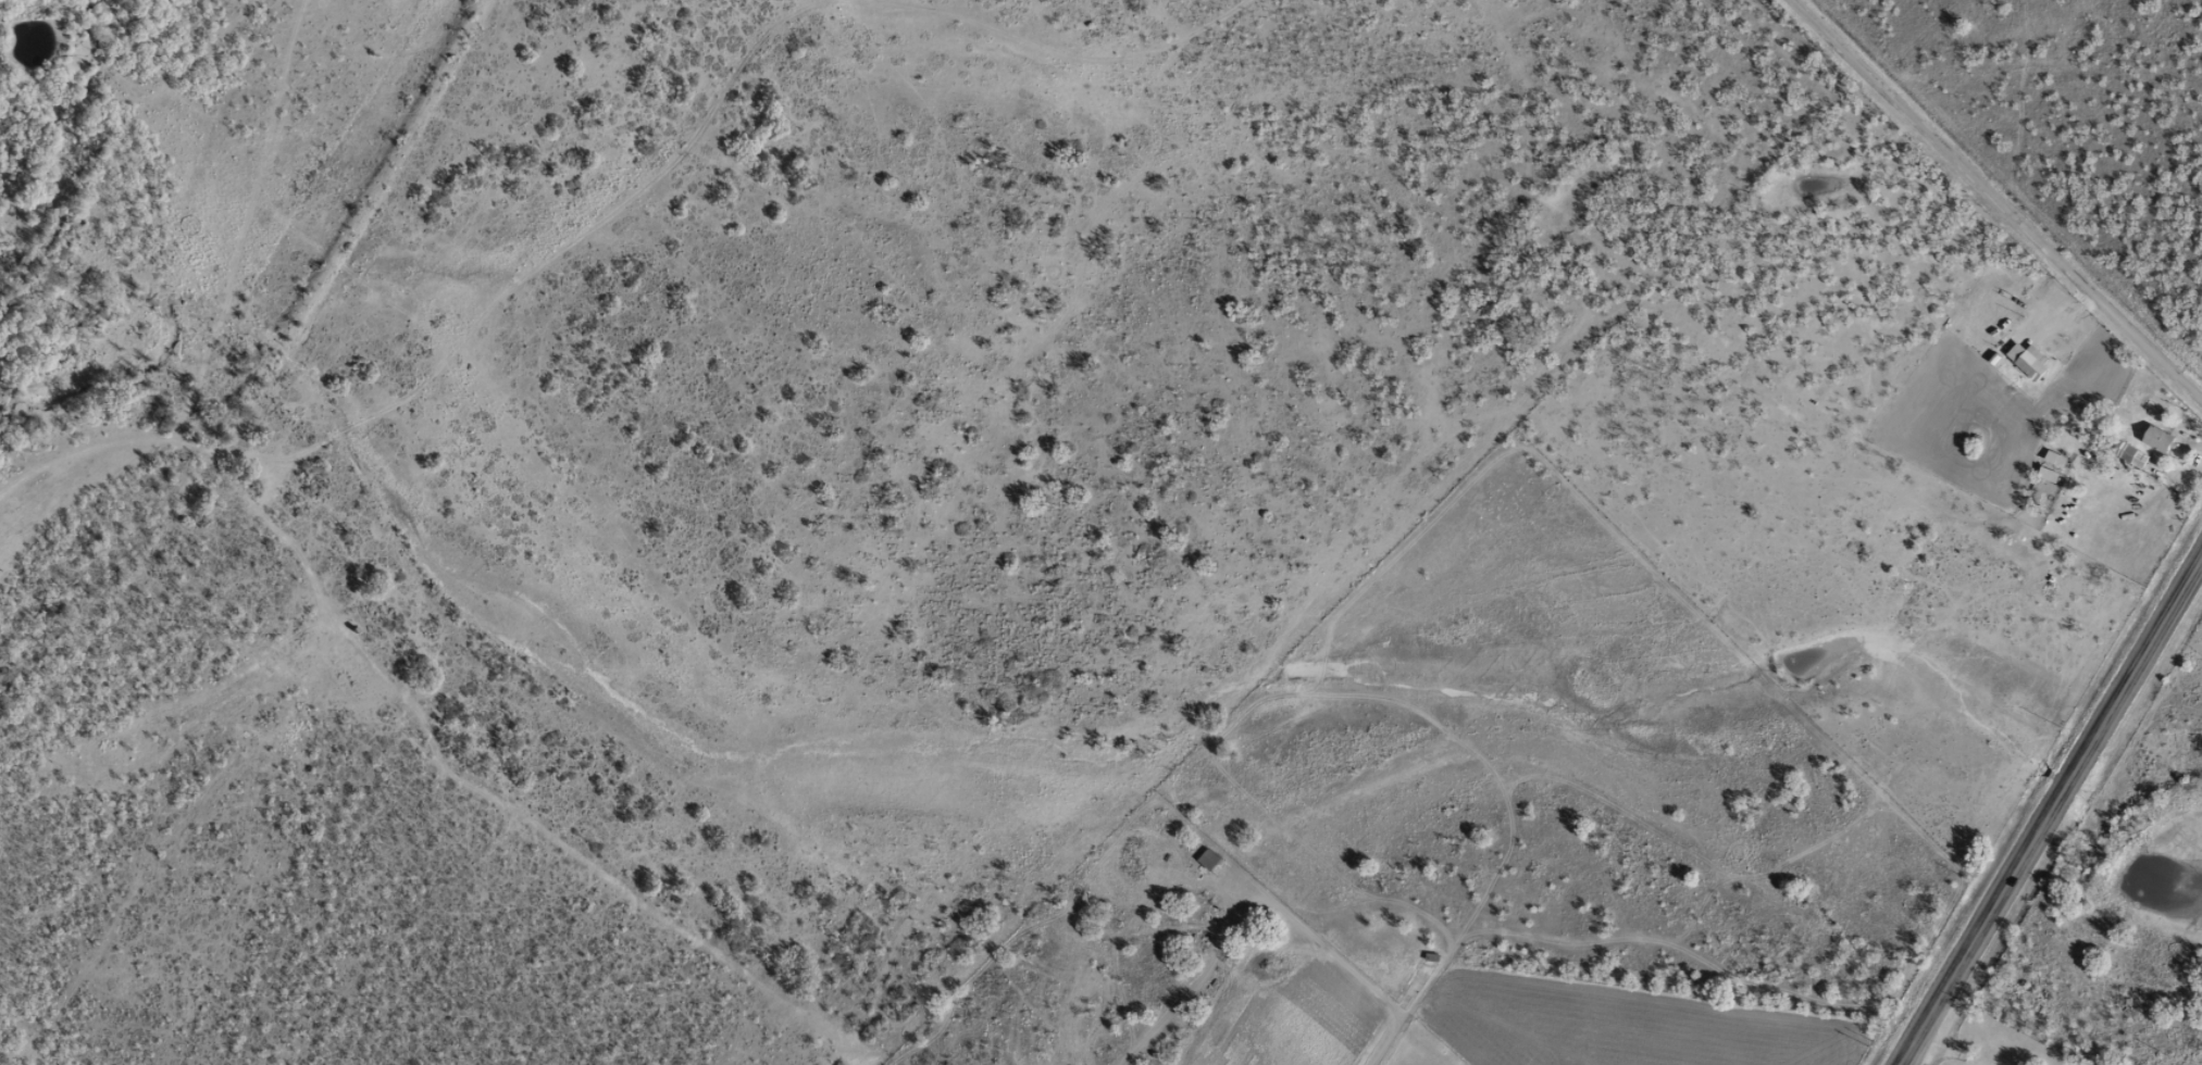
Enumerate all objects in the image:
road: (1969, 191)
railway: (261, 371)
building: (2153, 438)
building: (2126, 454)
road: (2047, 800)
building: (1204, 860)

